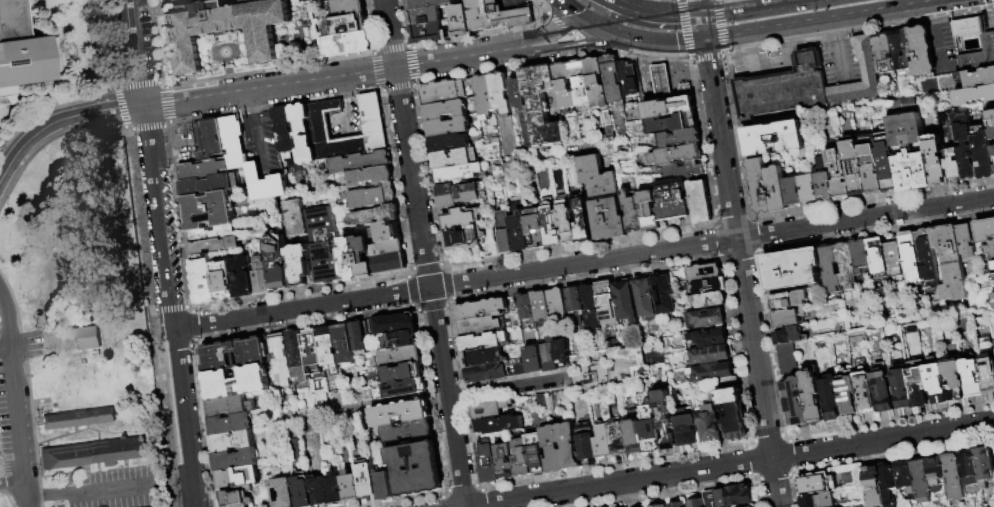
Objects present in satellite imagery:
building: (168, 0)
building: (316, 0)
building: (323, 0)
building: (427, 4)
road: (625, 6)
road: (699, 7)
building: (348, 8)
road: (756, 8)
road: (571, 9)
road: (612, 10)
road: (670, 14)
traffic signals: (701, 14)
road: (935, 14)
building: (476, 15)
building: (425, 17)
building: (505, 17)
traffic signals: (584, 18)
road: (829, 19)
building: (460, 22)
building: (346, 26)
road: (703, 27)
building: (224, 30)
road: (609, 30)
road: (834, 30)
road: (556, 32)
building: (428, 34)
traffic signals: (637, 39)
traffic signals: (705, 40)
road: (785, 40)
road: (670, 42)
building: (346, 45)
road: (583, 45)
road: (747, 45)
building: (987, 45)
road: (941, 48)
building: (24, 52)
building: (922, 52)
road: (135, 53)
building: (902, 54)
building: (883, 57)
building: (865, 58)
road: (788, 61)
road: (839, 61)
road: (750, 65)
road: (336, 77)
building: (979, 78)
building: (611, 79)
building: (628, 79)
building: (661, 82)
building: (580, 83)
building: (595, 83)
building: (564, 86)
building: (447, 91)
building: (783, 91)
building: (499, 92)
building: (518, 94)
building: (975, 94)
building: (483, 96)
road: (31, 100)
road: (249, 104)
building: (672, 104)
traffic signals: (144, 106)
building: (541, 107)
building: (989, 116)
road: (62, 119)
building: (435, 119)
building: (372, 123)
building: (319, 124)
building: (672, 124)
building: (284, 129)
building: (303, 133)
building: (990, 133)
building: (209, 139)
building: (679, 139)
building: (774, 139)
building: (233, 142)
road: (258, 142)
road: (407, 143)
building: (448, 143)
building: (964, 147)
building: (991, 150)
building: (676, 155)
building: (982, 156)
building: (457, 159)
building: (934, 159)
building: (359, 162)
building: (952, 163)
building: (869, 164)
building: (853, 166)
building: (501, 167)
building: (202, 169)
building: (684, 169)
building: (993, 169)
building: (887, 172)
building: (911, 172)
building: (458, 173)
building: (838, 174)
road: (1, 175)
building: (369, 176)
road: (1, 177)
building: (823, 177)
building: (209, 184)
building: (263, 184)
building: (759, 187)
building: (778, 189)
building: (802, 192)
building: (459, 194)
building: (372, 196)
building: (603, 199)
building: (699, 202)
building: (672, 206)
building: (647, 209)
building: (208, 210)
building: (632, 213)
building: (374, 215)
road: (159, 217)
building: (294, 218)
building: (459, 218)
building: (580, 221)
building: (566, 227)
building: (535, 229)
building: (551, 230)
building: (984, 230)
building: (385, 231)
building: (519, 232)
building: (505, 234)
building: (212, 239)
building: (463, 239)
road: (712, 241)
building: (964, 243)
building: (322, 245)
building: (386, 248)
building: (989, 249)
building: (908, 252)
building: (859, 253)
building: (876, 255)
building: (361, 257)
building: (892, 258)
building: (926, 258)
building: (346, 259)
building: (948, 262)
building: (276, 263)
building: (388, 263)
building: (296, 265)
building: (845, 265)
building: (992, 266)
building: (828, 267)
building: (791, 269)
park: (69, 272)
road: (742, 273)
building: (703, 274)
building: (241, 276)
building: (259, 276)
building: (991, 277)
building: (203, 281)
building: (224, 281)
building: (704, 288)
building: (663, 294)
building: (644, 297)
building: (788, 299)
building: (574, 300)
building: (992, 300)
building: (707, 301)
building: (556, 302)
building: (626, 302)
building: (606, 303)
building: (525, 307)
building: (540, 307)
road: (301, 308)
building: (591, 308)
building: (481, 309)
building: (787, 317)
building: (704, 319)
building: (393, 325)
building: (478, 326)
building: (367, 328)
building: (789, 335)
building: (357, 337)
building: (85, 338)
building: (709, 338)
building: (399, 340)
building: (482, 341)
building: (327, 346)
building: (344, 347)
building: (312, 353)
building: (563, 354)
building: (623, 354)
building: (236, 355)
building: (549, 355)
building: (708, 355)
road: (4, 357)
building: (399, 357)
building: (481, 357)
building: (296, 358)
building: (533, 359)
building: (786, 359)
building: (280, 360)
road: (592, 361)
building: (520, 370)
park: (604, 371)
building: (485, 373)
building: (710, 373)
building: (401, 374)
building: (971, 379)
building: (989, 379)
building: (953, 380)
building: (236, 383)
building: (917, 383)
building: (936, 383)
building: (901, 386)
building: (406, 388)
road: (508, 388)
building: (882, 390)
building: (728, 391)
building: (865, 391)
road: (181, 394)
building: (847, 395)
road: (447, 396)
building: (812, 398)
building: (830, 398)
road: (13, 399)
building: (795, 402)
building: (228, 407)
building: (489, 409)
building: (399, 414)
building: (663, 418)
building: (78, 419)
building: (732, 422)
building: (708, 424)
building: (229, 425)
building: (496, 425)
parking lot: (9, 427)
building: (406, 431)
building: (685, 431)
building: (650, 433)
building: (634, 436)
building: (618, 440)
building: (603, 441)
building: (231, 443)
building: (586, 443)
building: (568, 446)
building: (552, 448)
building: (93, 454)
building: (537, 455)
building: (521, 459)
building: (234, 460)
building: (488, 461)
building: (505, 461)
road: (732, 464)
building: (983, 466)
building: (967, 467)
building: (414, 469)
building: (935, 473)
building: (952, 476)
building: (904, 477)
building: (237, 478)
building: (920, 480)
road: (12, 482)
road: (191, 483)
building: (365, 483)
building: (815, 483)
building: (887, 483)
building: (872, 485)
building: (381, 486)
building: (349, 487)
parking lot: (112, 488)
building: (334, 489)
building: (318, 490)
road: (110, 491)
building: (301, 492)
building: (282, 493)
road: (45, 496)
building: (238, 497)
building: (729, 497)
building: (817, 500)
building: (696, 503)
building: (676, 504)
building: (655, 505)
building: (661, 506)
building: (749, 506)

